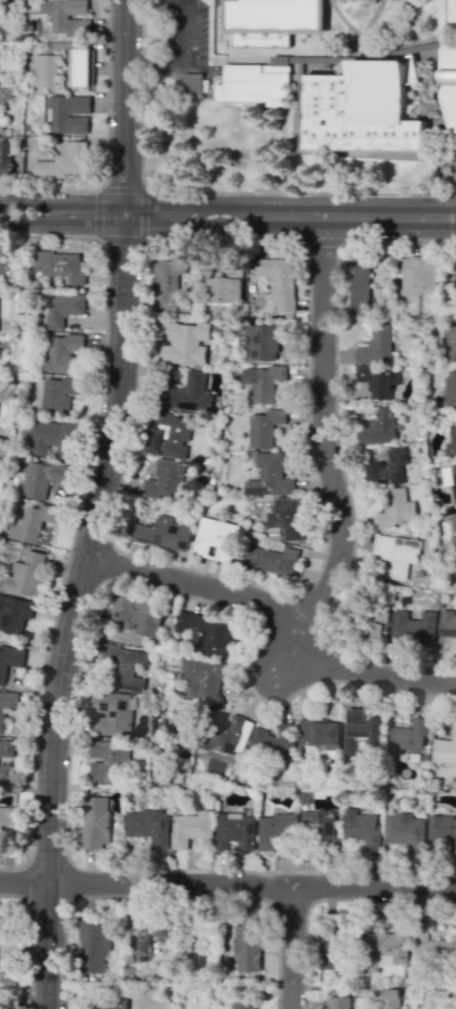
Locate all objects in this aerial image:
building: (268, 0)
building: (453, 12)
building: (67, 17)
building: (252, 27)
road: (185, 60)
building: (78, 67)
building: (45, 70)
building: (256, 83)
building: (192, 85)
building: (448, 86)
building: (363, 105)
building: (69, 114)
building: (6, 158)
building: (63, 162)
street lamp: (251, 191)
road: (300, 192)
road: (62, 205)
road: (290, 215)
road: (62, 222)
street lamp: (344, 245)
building: (1, 262)
building: (59, 265)
building: (419, 275)
building: (167, 280)
building: (278, 280)
building: (455, 282)
building: (359, 286)
building: (222, 290)
building: (63, 308)
building: (259, 342)
building: (450, 342)
building: (376, 345)
building: (61, 352)
building: (378, 381)
building: (263, 382)
building: (450, 387)
building: (58, 393)
building: (189, 394)
building: (264, 428)
building: (378, 428)
building: (165, 433)
road: (325, 437)
building: (52, 438)
building: (451, 442)
building: (387, 468)
building: (271, 474)
building: (40, 477)
building: (164, 479)
building: (450, 479)
road: (95, 505)
building: (395, 509)
building: (285, 517)
building: (30, 521)
building: (454, 528)
building: (162, 534)
building: (215, 539)
building: (395, 555)
building: (273, 560)
building: (24, 574)
building: (14, 614)
building: (138, 615)
road: (275, 616)
building: (447, 623)
building: (378, 624)
building: (412, 629)
building: (209, 632)
building: (9, 660)
road: (288, 662)
building: (126, 665)
building: (202, 682)
building: (7, 704)
building: (112, 714)
building: (360, 730)
building: (227, 733)
building: (320, 733)
building: (408, 737)
building: (272, 741)
building: (6, 748)
building: (445, 749)
building: (107, 759)
building: (5, 773)
building: (9, 819)
building: (94, 822)
building: (318, 824)
building: (149, 826)
building: (190, 828)
building: (362, 829)
building: (275, 830)
building: (235, 831)
building: (404, 831)
building: (442, 833)
road: (228, 884)
building: (5, 929)
building: (148, 938)
building: (247, 945)
building: (92, 946)
building: (431, 946)
road: (291, 947)
building: (386, 947)
building: (326, 948)
road: (348, 986)
building: (389, 998)
building: (434, 998)
building: (110, 1001)
building: (337, 1002)
building: (242, 1003)
building: (0, 1006)

